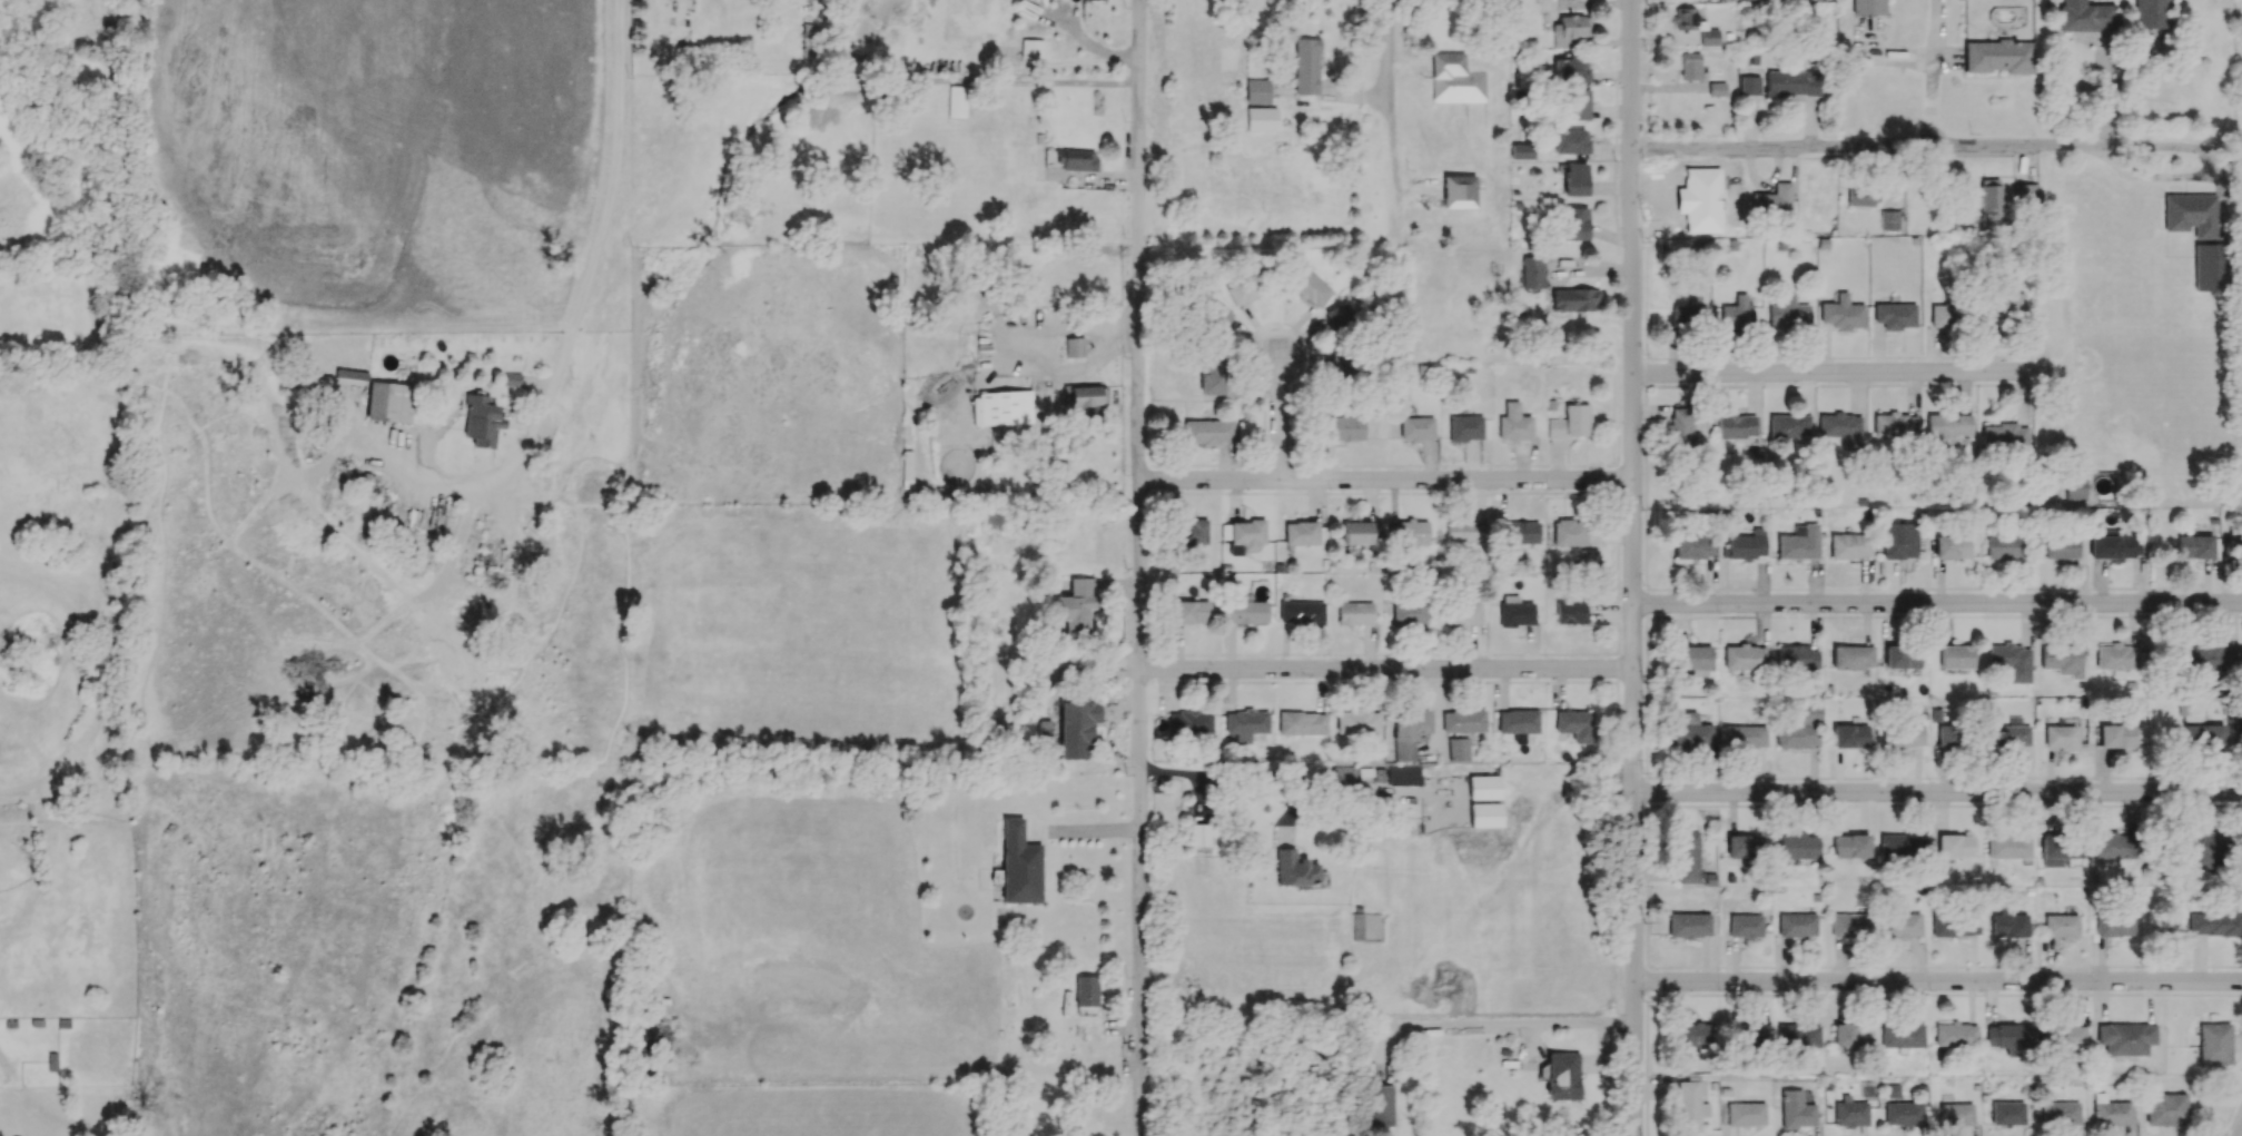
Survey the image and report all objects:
building: (1722, 0)
building: (1868, 7)
building: (2151, 14)
building: (2085, 16)
building: (1695, 26)
building: (1571, 30)
building: (1999, 56)
building: (1305, 66)
building: (1690, 66)
building: (1569, 68)
road: (1937, 76)
building: (1455, 79)
building: (1792, 83)
building: (1749, 85)
building: (1717, 89)
building: (1257, 91)
road: (2106, 98)
building: (957, 101)
road: (1387, 101)
building: (1577, 103)
building: (1262, 118)
road: (2103, 129)
building: (1570, 141)
building: (1522, 150)
road: (1915, 151)
building: (1076, 159)
building: (1576, 179)
building: (1459, 191)
building: (2025, 192)
building: (1860, 197)
building: (1772, 201)
building: (2190, 214)
building: (1889, 219)
building: (1573, 223)
building: (2209, 267)
building: (1532, 271)
road: (590, 288)
building: (1246, 288)
building: (1311, 288)
building: (1573, 299)
building: (2006, 304)
building: (1738, 313)
building: (1788, 313)
building: (1841, 313)
building: (1688, 315)
building: (1895, 315)
building: (1943, 315)
building: (1217, 317)
building: (1341, 317)
road: (2067, 319)
building: (1074, 346)
road: (1833, 375)
building: (1209, 376)
building: (511, 378)
building: (1087, 395)
building: (388, 402)
building: (1013, 407)
building: (978, 411)
road: (1276, 416)
building: (481, 419)
building: (1513, 423)
building: (1570, 423)
building: (1839, 425)
building: (1948, 425)
building: (1681, 426)
building: (1737, 426)
building: (1789, 426)
building: (1895, 426)
building: (1343, 427)
building: (1464, 427)
building: (1416, 428)
building: (1207, 431)
building: (2004, 436)
road: (1386, 481)
building: (2075, 486)
building: (1464, 531)
building: (1191, 532)
building: (1355, 532)
building: (1406, 532)
building: (1521, 532)
building: (1570, 532)
building: (1300, 533)
building: (1245, 535)
building: (1899, 540)
building: (1799, 542)
building: (1746, 544)
building: (1953, 544)
building: (2112, 544)
building: (2232, 544)
building: (1849, 545)
building: (2003, 545)
building: (1695, 546)
building: (2058, 546)
building: (2194, 546)
road: (1140, 567)
road: (1632, 567)
building: (1076, 605)
road: (1937, 606)
building: (1245, 610)
building: (1515, 611)
building: (1188, 612)
building: (1301, 612)
building: (1354, 612)
building: (1408, 612)
building: (1570, 612)
building: (1462, 613)
building: (1744, 656)
building: (1853, 656)
building: (1902, 656)
building: (1956, 656)
building: (1695, 658)
building: (1797, 658)
building: (2116, 658)
building: (2197, 659)
building: (2233, 659)
building: (2063, 660)
building: (2012, 661)
road: (1386, 671)
building: (1462, 720)
building: (1357, 721)
building: (1301, 722)
building: (1518, 722)
building: (1191, 723)
building: (1245, 723)
building: (1574, 724)
building: (2238, 727)
building: (1077, 728)
building: (1800, 728)
building: (1409, 732)
building: (1690, 732)
building: (2203, 734)
building: (1850, 735)
building: (1903, 735)
building: (1946, 735)
building: (2127, 735)
building: (1745, 737)
building: (2011, 737)
building: (2057, 737)
building: (1458, 749)
road: (1245, 774)
building: (1342, 774)
building: (1404, 774)
building: (1483, 787)
road: (1938, 797)
building: (1483, 814)
building: (1199, 834)
road: (1076, 836)
building: (1744, 846)
building: (1850, 846)
building: (1903, 846)
building: (1955, 846)
building: (2008, 846)
building: (2114, 846)
building: (1798, 847)
building: (2204, 848)
building: (2058, 850)
building: (1687, 857)
building: (1019, 865)
building: (1294, 869)
building: (1797, 923)
building: (1956, 923)
building: (2114, 923)
building: (2214, 923)
building: (1689, 925)
building: (1746, 925)
building: (1849, 925)
building: (1903, 925)
building: (2008, 925)
building: (2061, 925)
road: (1937, 985)
building: (1086, 990)
road: (1510, 1027)
building: (1748, 1034)
building: (1955, 1034)
building: (1850, 1035)
building: (2061, 1035)
building: (1902, 1036)
building: (1797, 1037)
building: (2008, 1037)
building: (2125, 1038)
building: (2214, 1043)
building: (1562, 1075)
building: (1380, 1105)
building: (1689, 1106)
building: (2166, 1108)
building: (1796, 1109)
building: (2113, 1110)
building: (2061, 1112)
building: (1744, 1113)
building: (1850, 1113)
building: (2008, 1113)
building: (1904, 1114)
building: (1956, 1114)
road: (2238, 1130)

